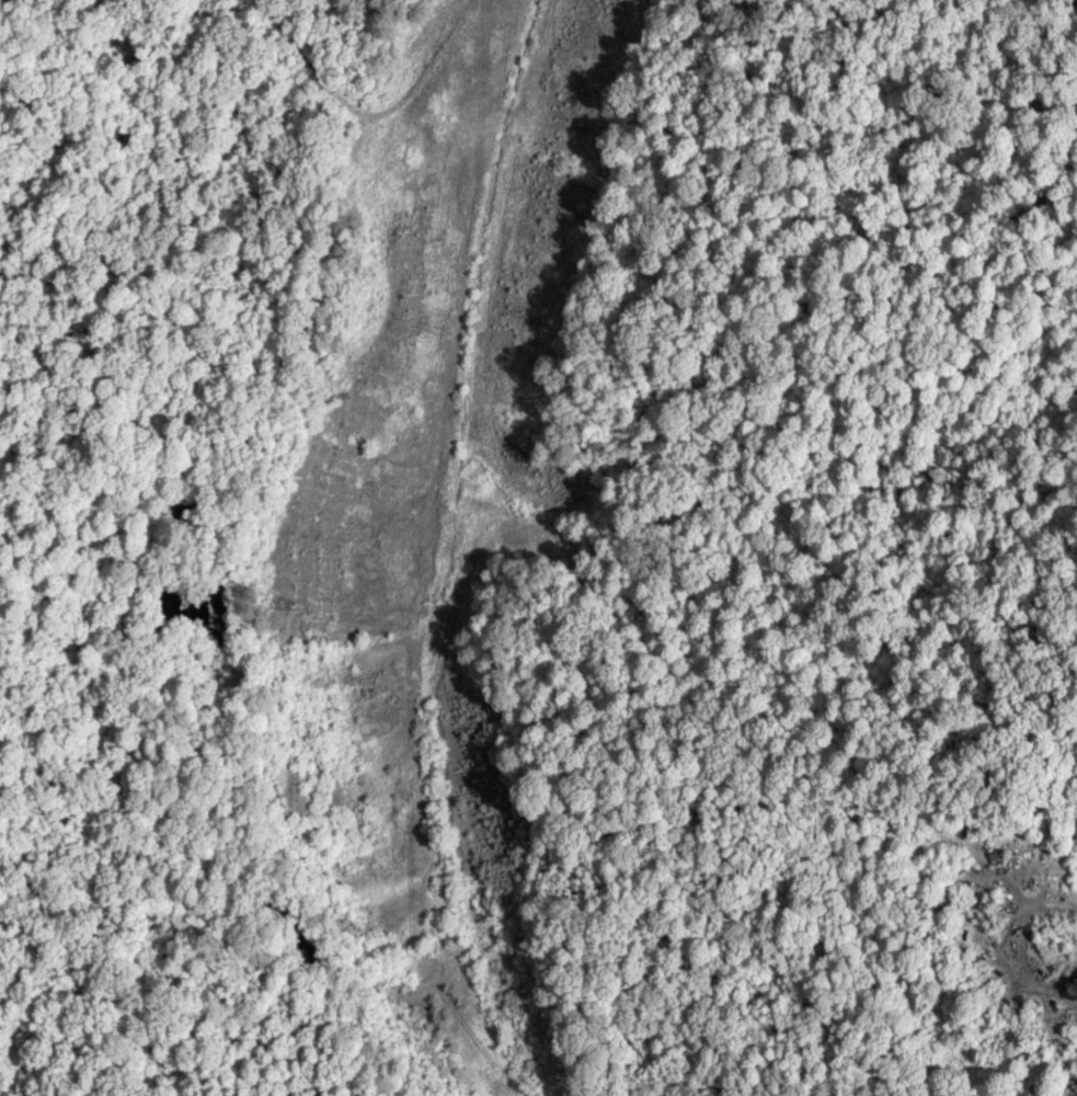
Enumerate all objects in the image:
building: (998, 854)
building: (943, 886)

